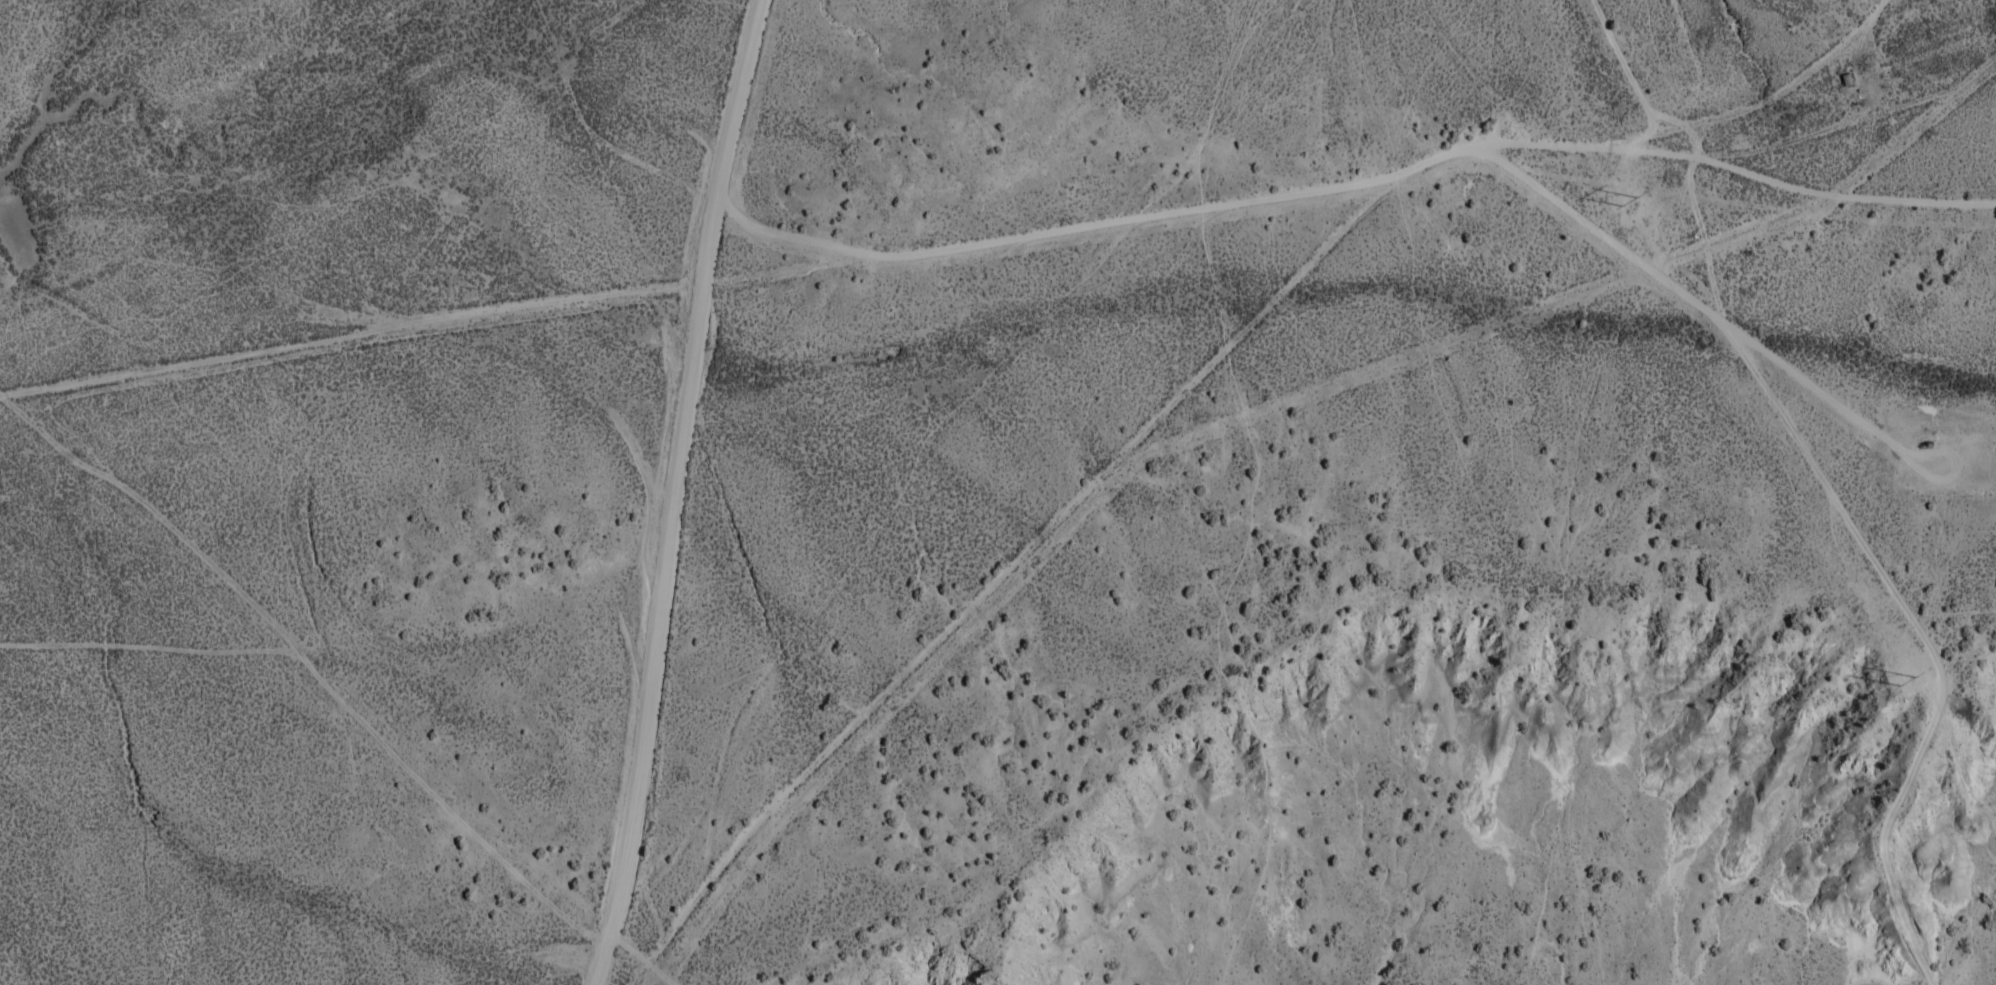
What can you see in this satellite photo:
road: (1759, 104)
river: (251, 119)
power tower: (1629, 209)
road: (1219, 356)
road: (672, 492)
power tower: (1907, 690)

